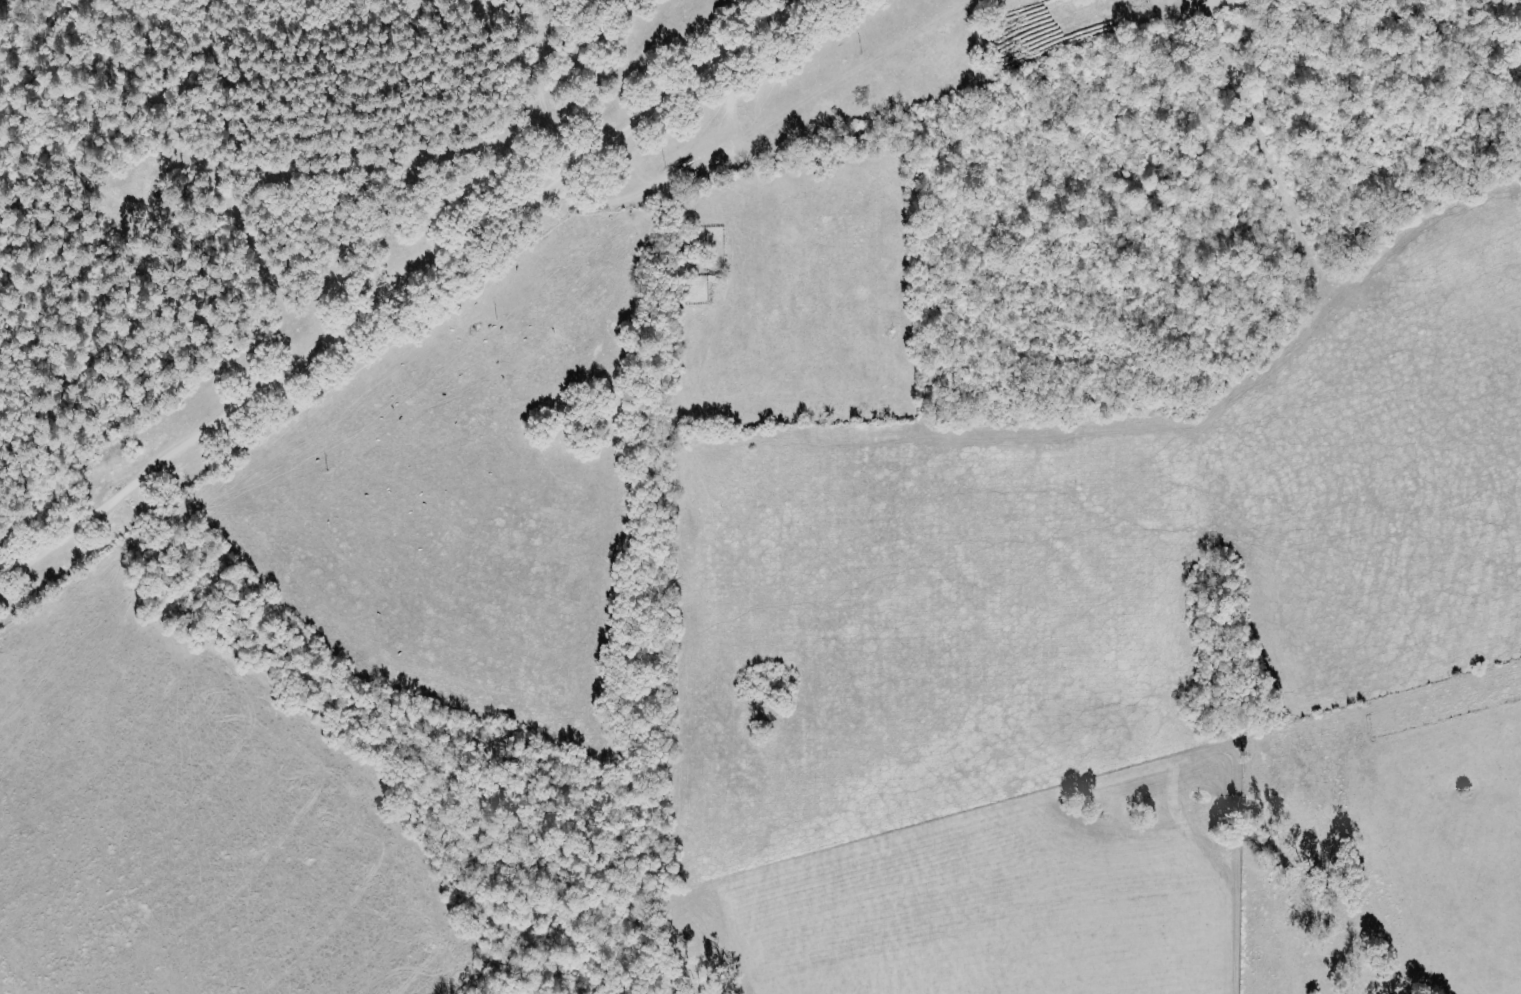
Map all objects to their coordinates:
road: (403, 290)

